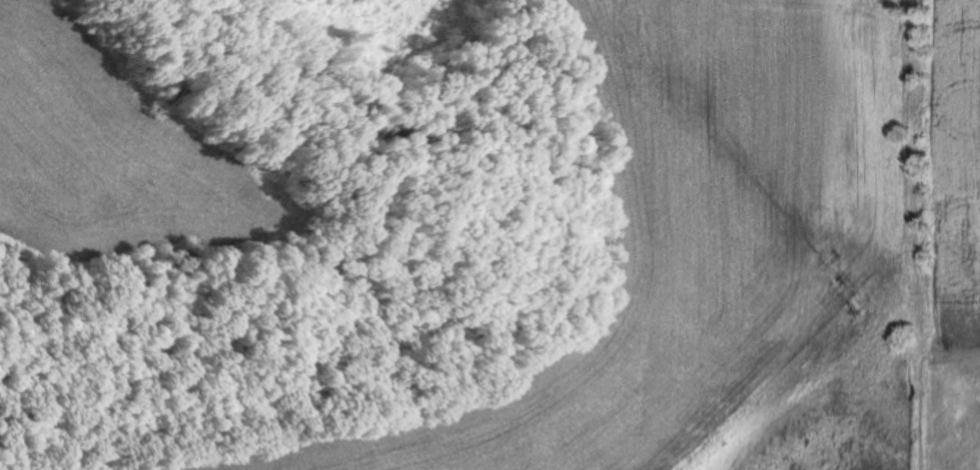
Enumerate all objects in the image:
crop: (121, 150)
crop: (738, 221)

